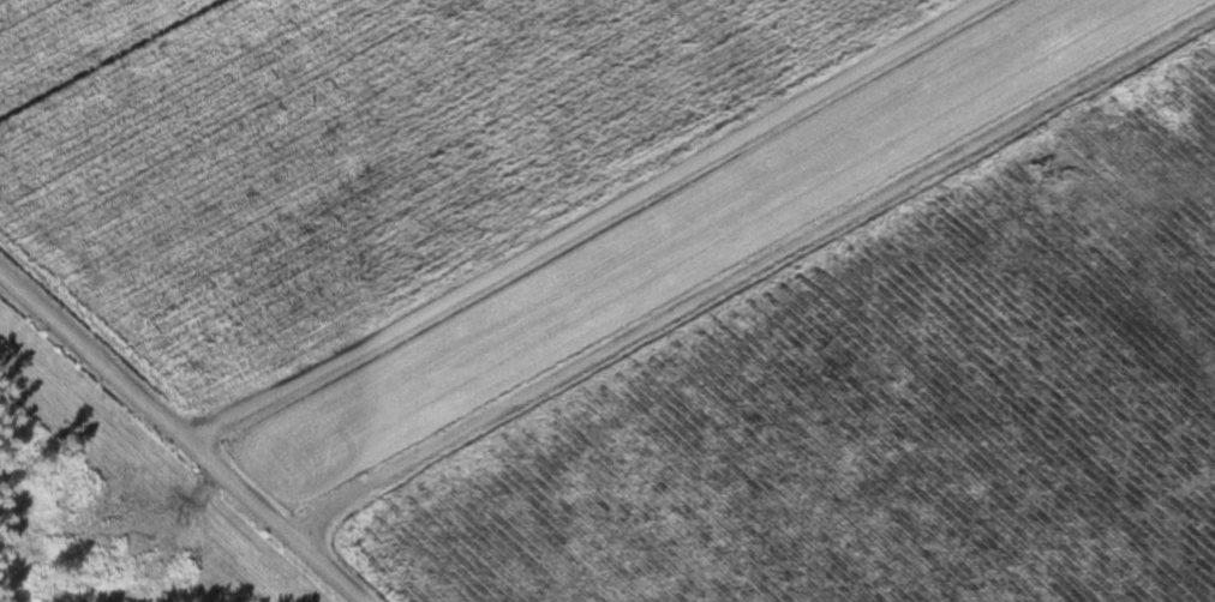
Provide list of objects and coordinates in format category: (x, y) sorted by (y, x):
road: (585, 219)
road: (184, 434)

